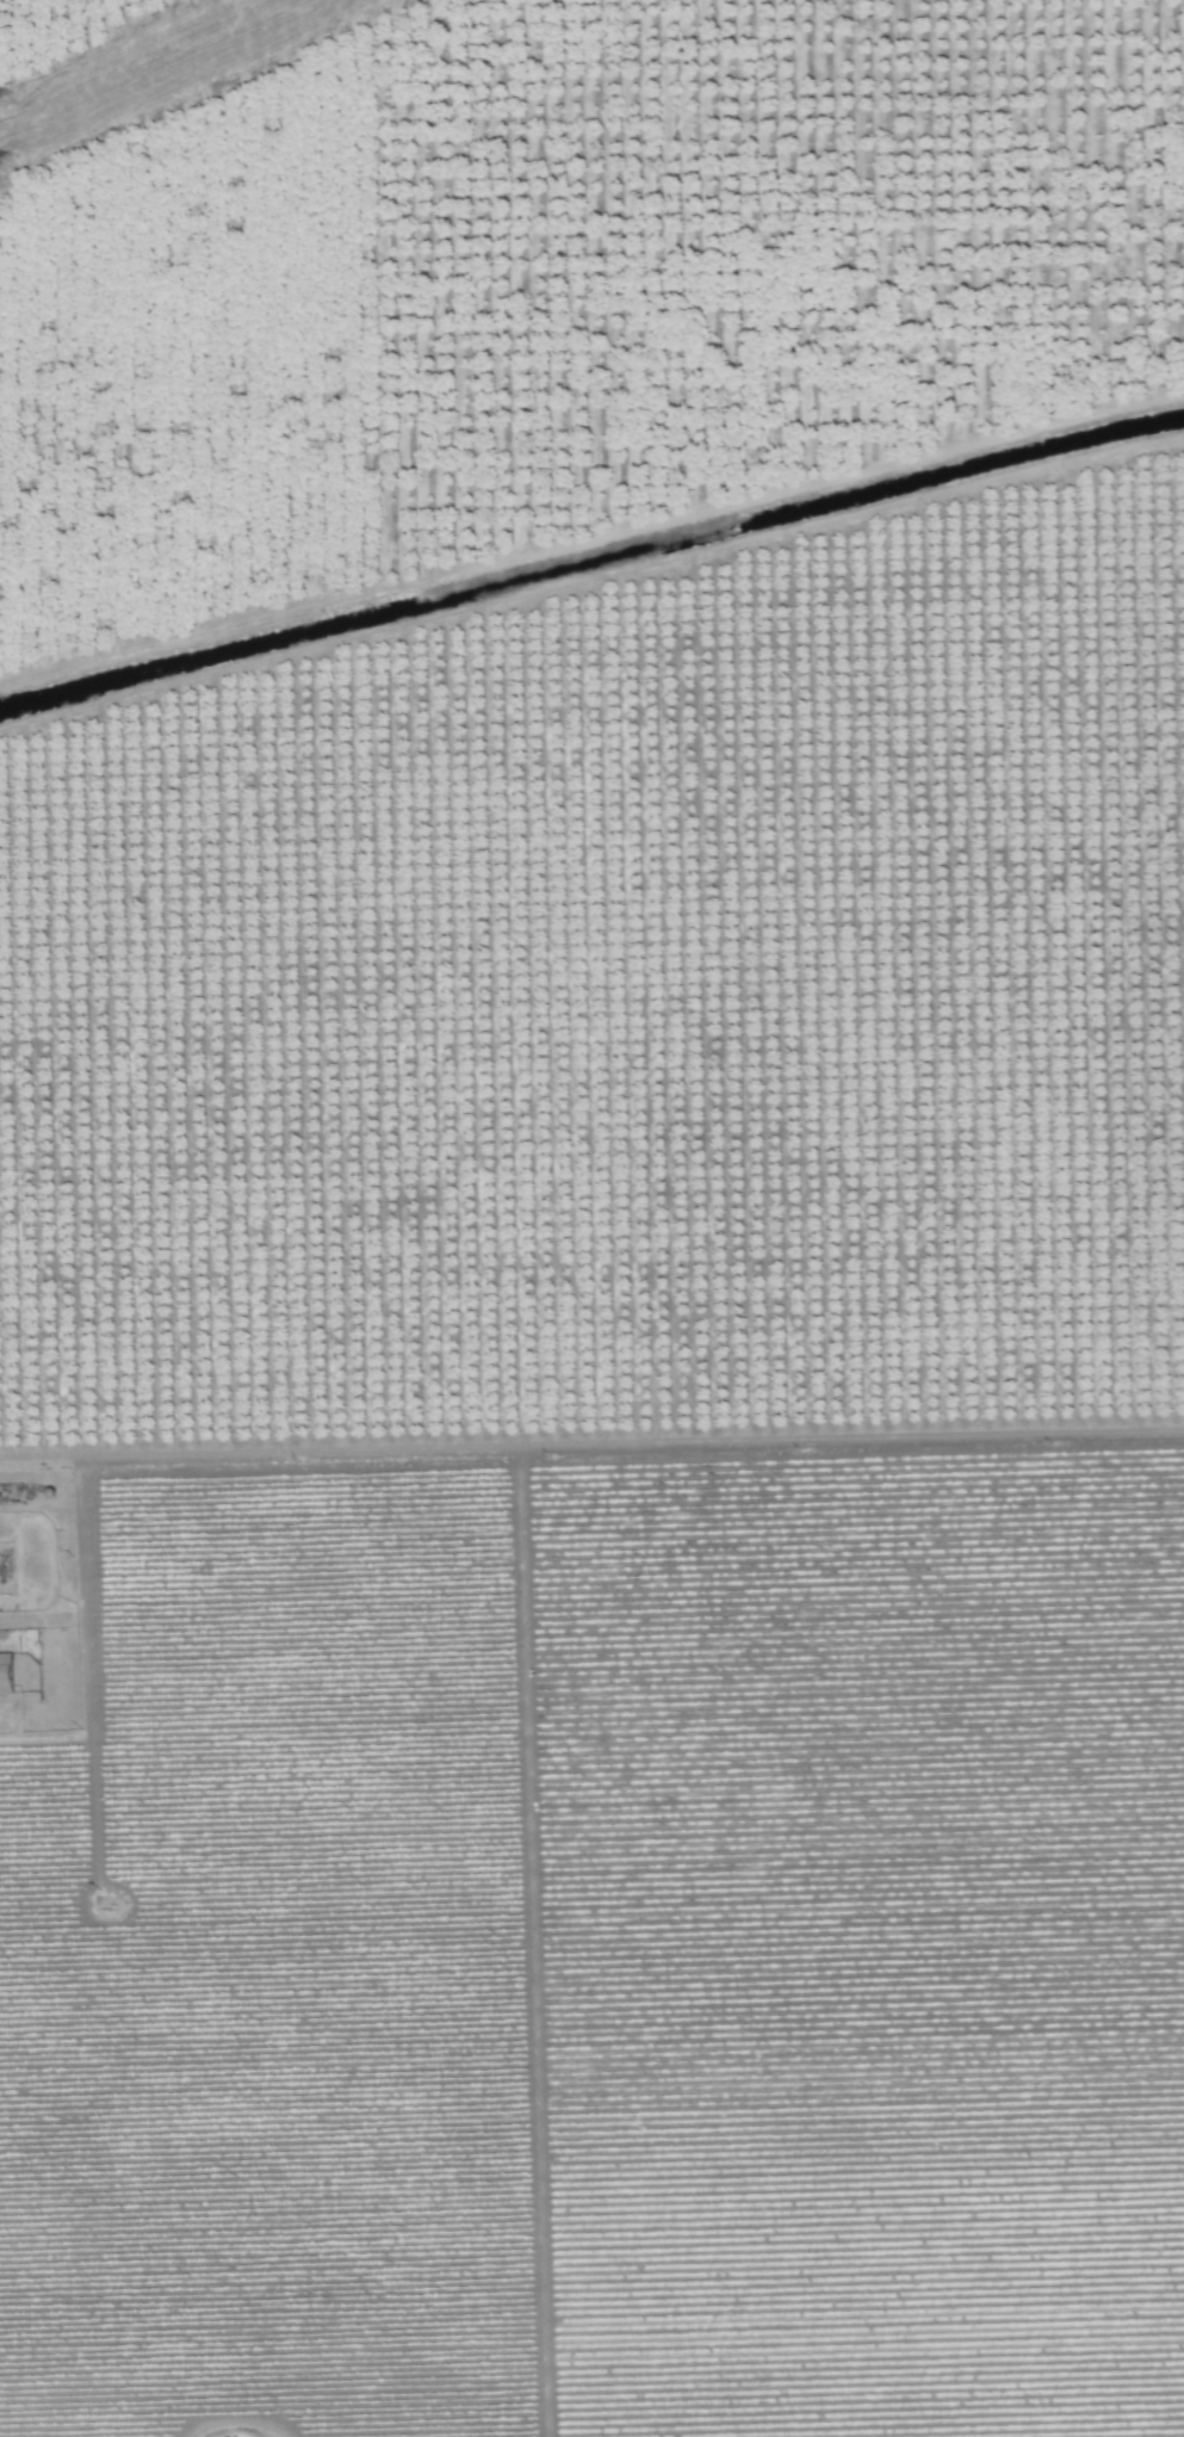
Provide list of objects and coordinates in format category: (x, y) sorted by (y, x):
power tower: (5, 103)
power tower: (4, 166)

